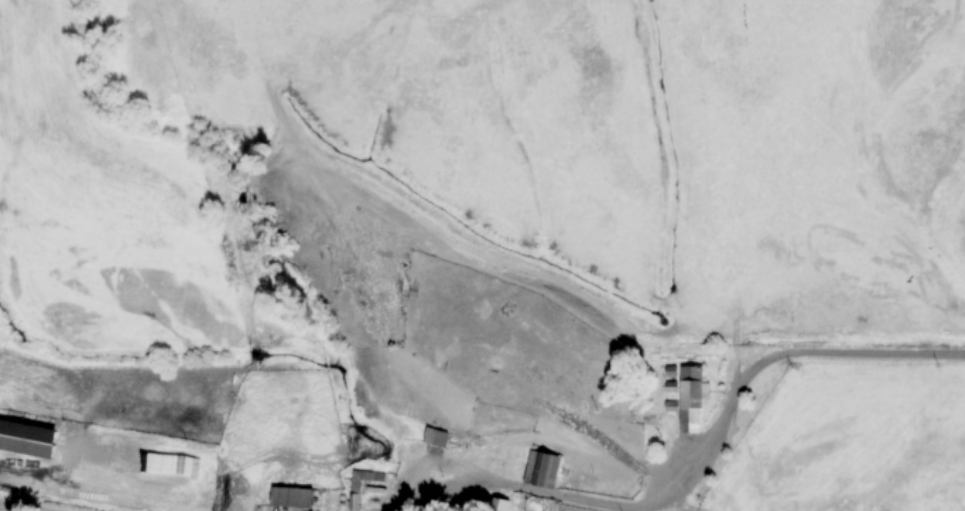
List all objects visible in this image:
building: (685, 396)
building: (434, 436)
building: (26, 439)
building: (541, 469)
building: (355, 481)
building: (290, 497)

